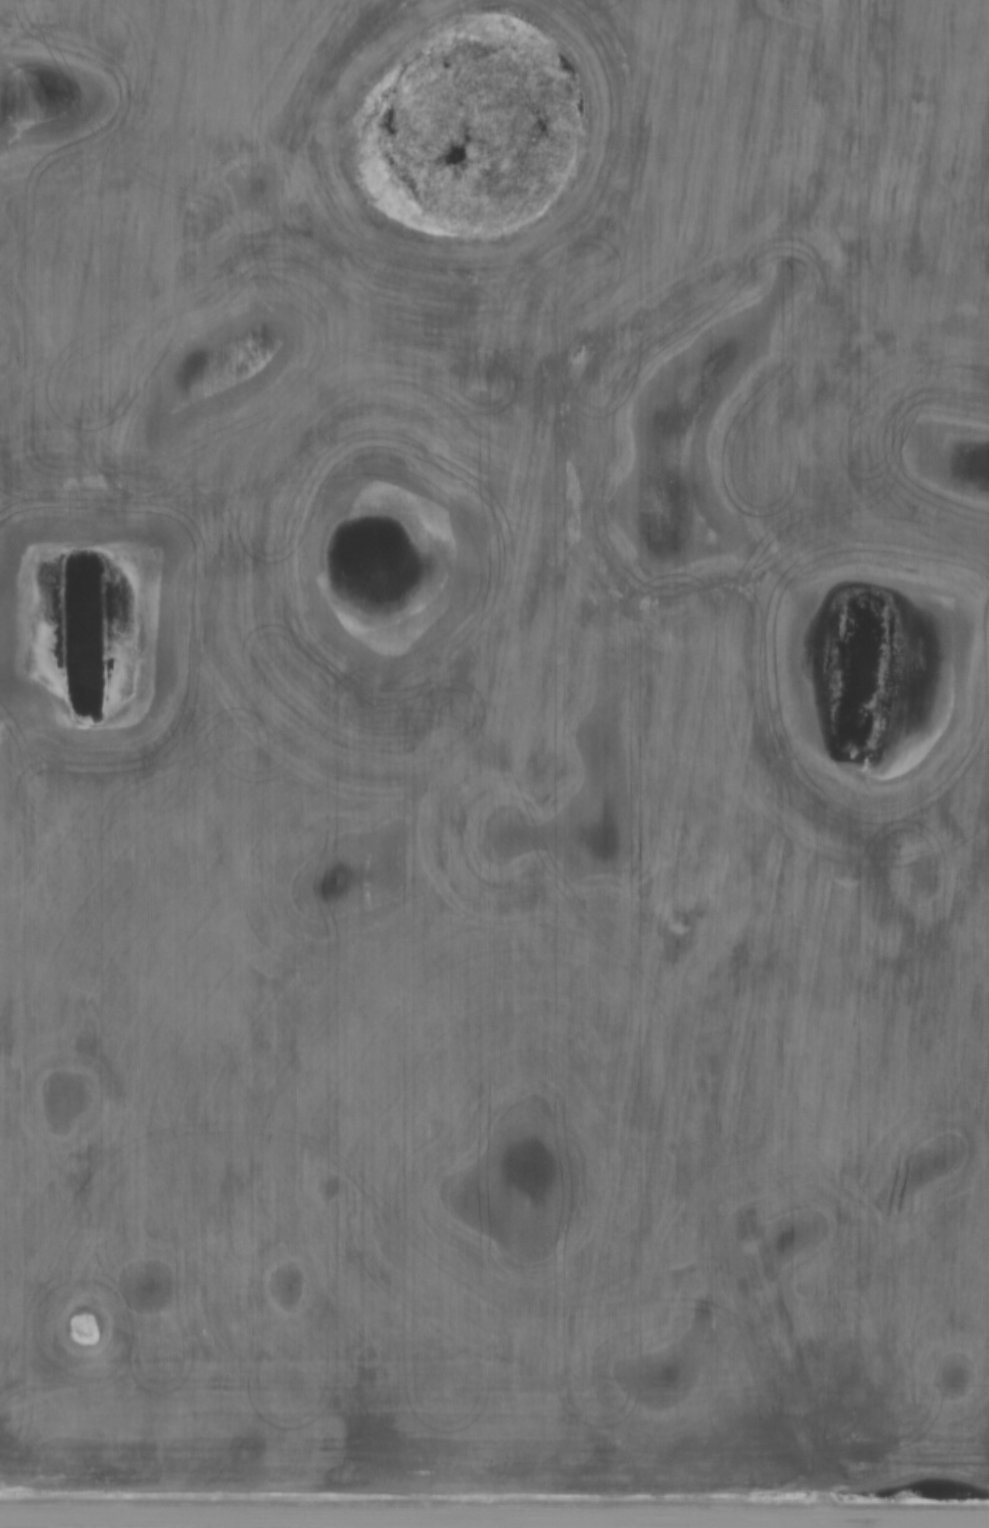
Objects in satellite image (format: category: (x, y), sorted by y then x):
road: (494, 1513)
road: (514, 1521)

